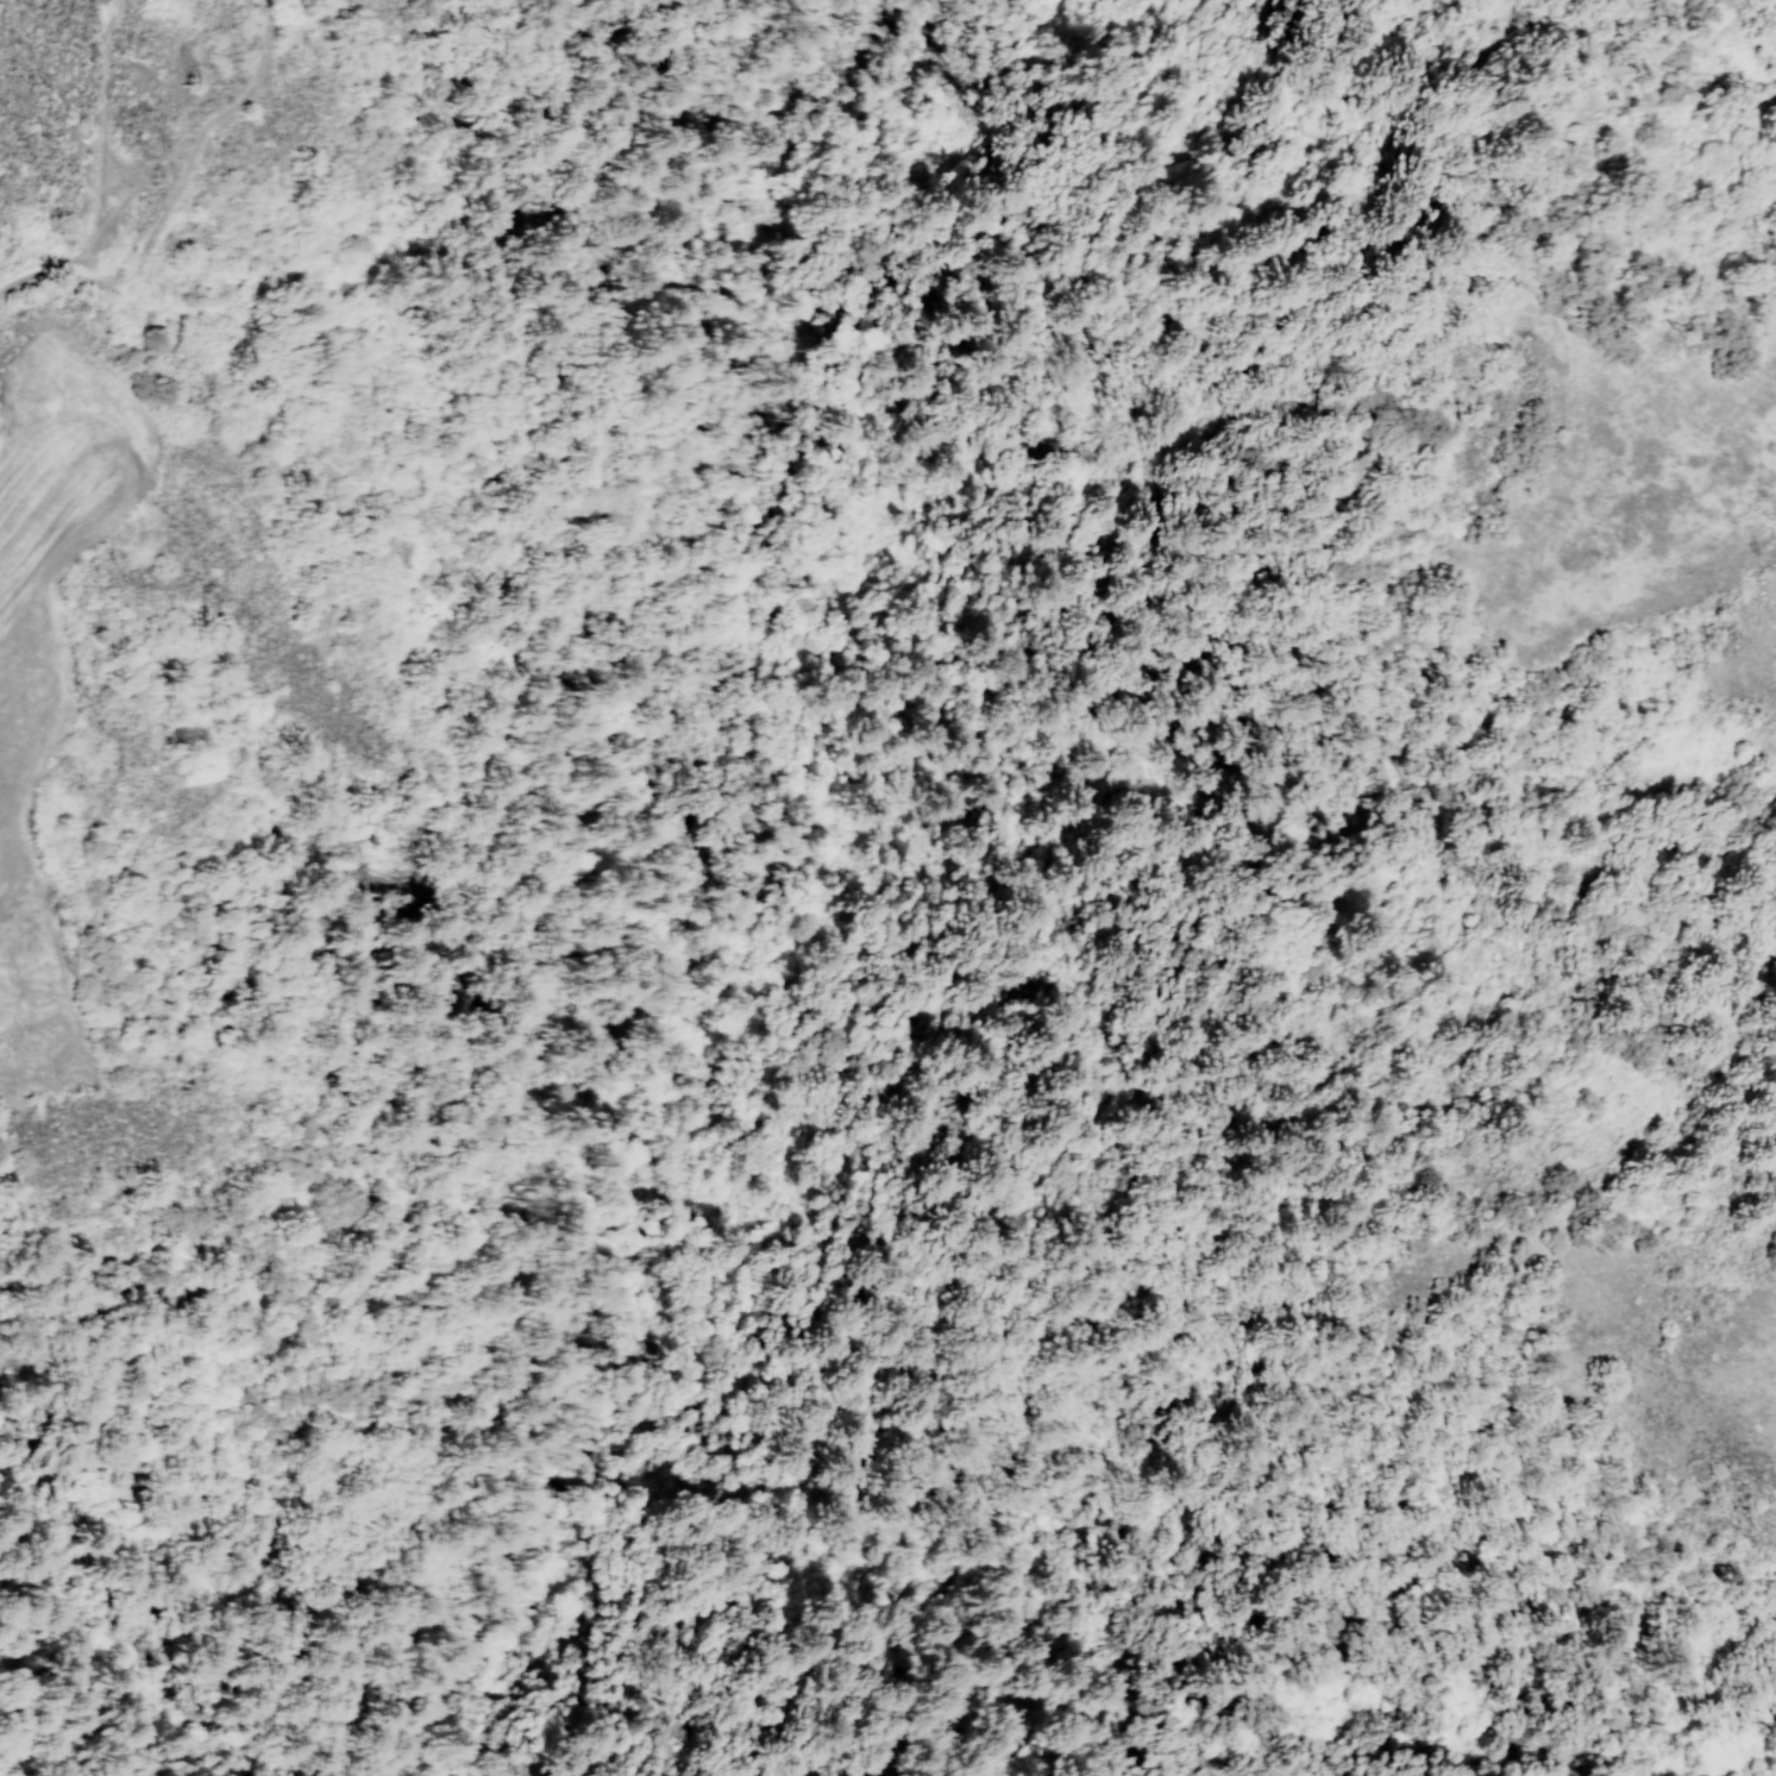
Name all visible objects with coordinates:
road: (796, 76)
road: (89, 137)
road: (171, 194)

